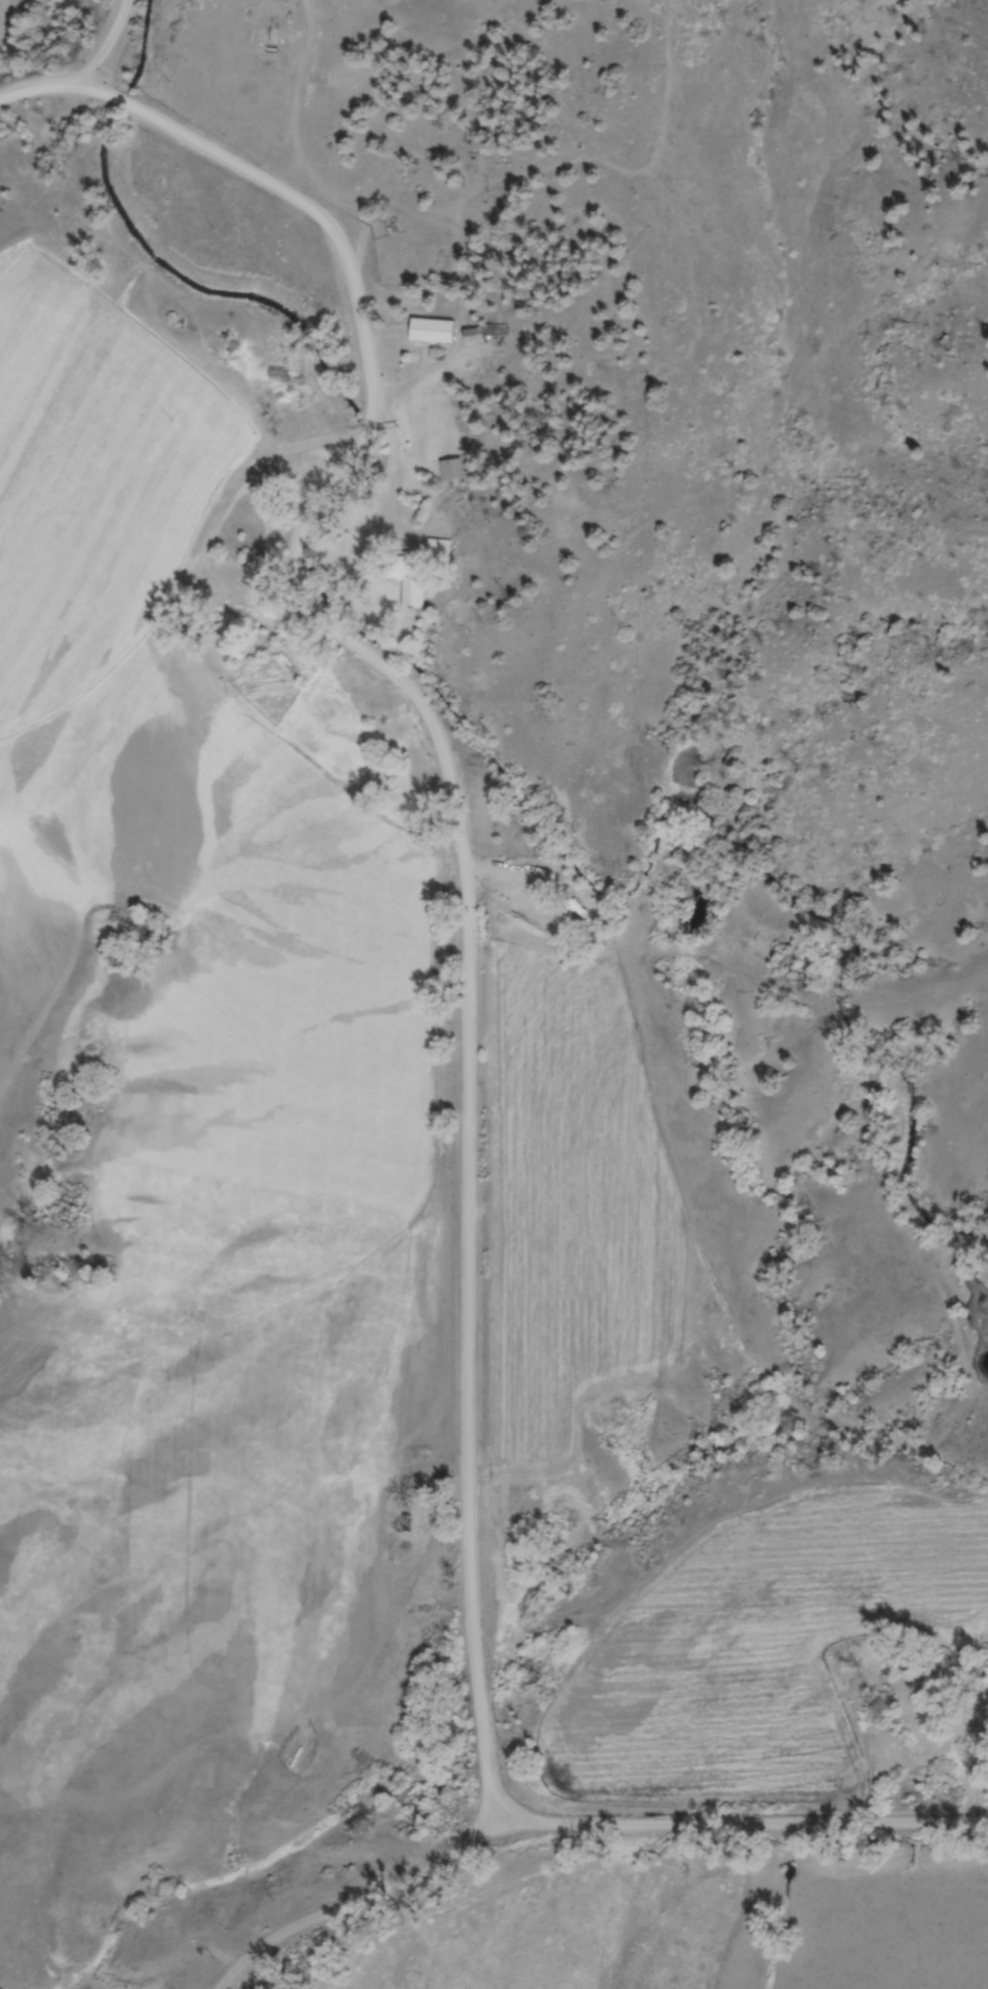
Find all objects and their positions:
road: (301, 78)
building: (433, 332)
building: (476, 336)
building: (454, 471)
building: (441, 551)
building: (407, 578)
road: (451, 802)
building: (575, 902)
building: (408, 1522)
road: (745, 1826)
road: (353, 1898)

